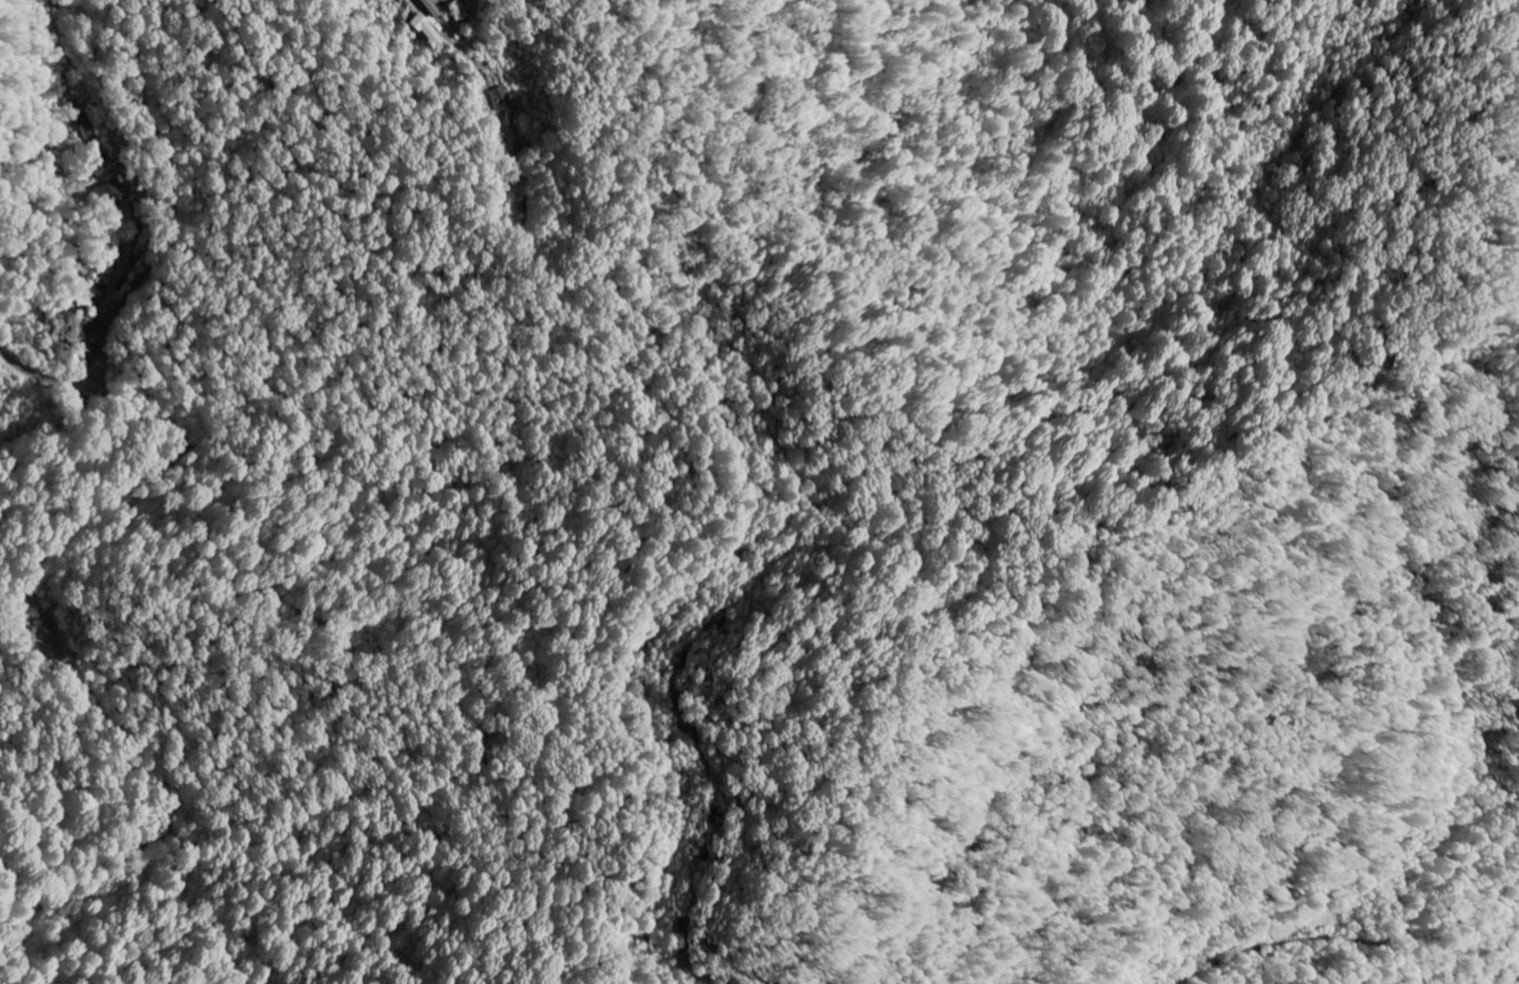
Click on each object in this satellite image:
building: (423, 33)
building: (109, 198)
road: (161, 247)

